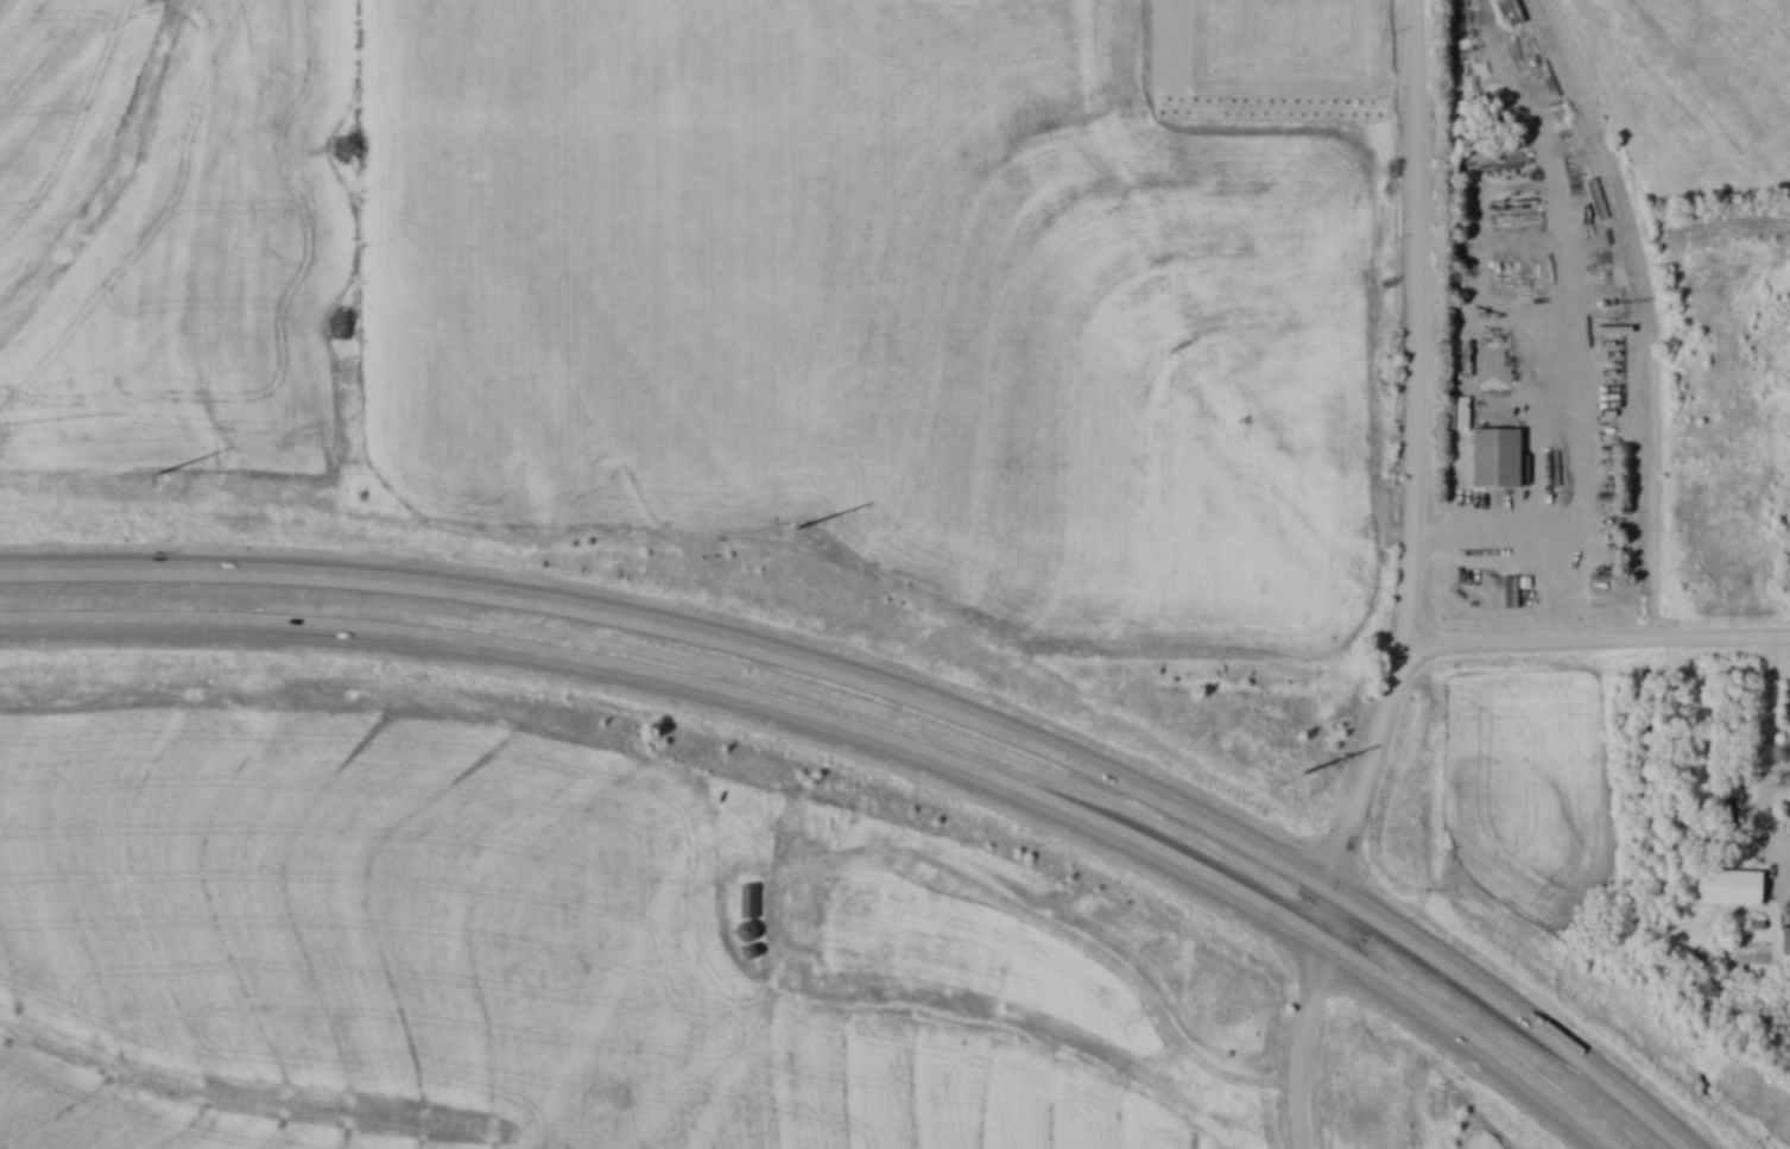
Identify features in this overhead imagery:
building: (1232, 0)
building: (1495, 448)
road: (1419, 453)
power tower: (156, 473)
road: (1539, 488)
power tower: (799, 528)
road: (1538, 537)
road: (1598, 638)
road: (690, 639)
road: (683, 690)
road: (1773, 716)
power tower: (1307, 772)
building: (1735, 885)
building: (751, 899)
road: (1328, 920)
road: (1062, 932)
building: (1788, 936)
road: (1519, 1011)
road: (1470, 1037)
road: (1309, 1046)

